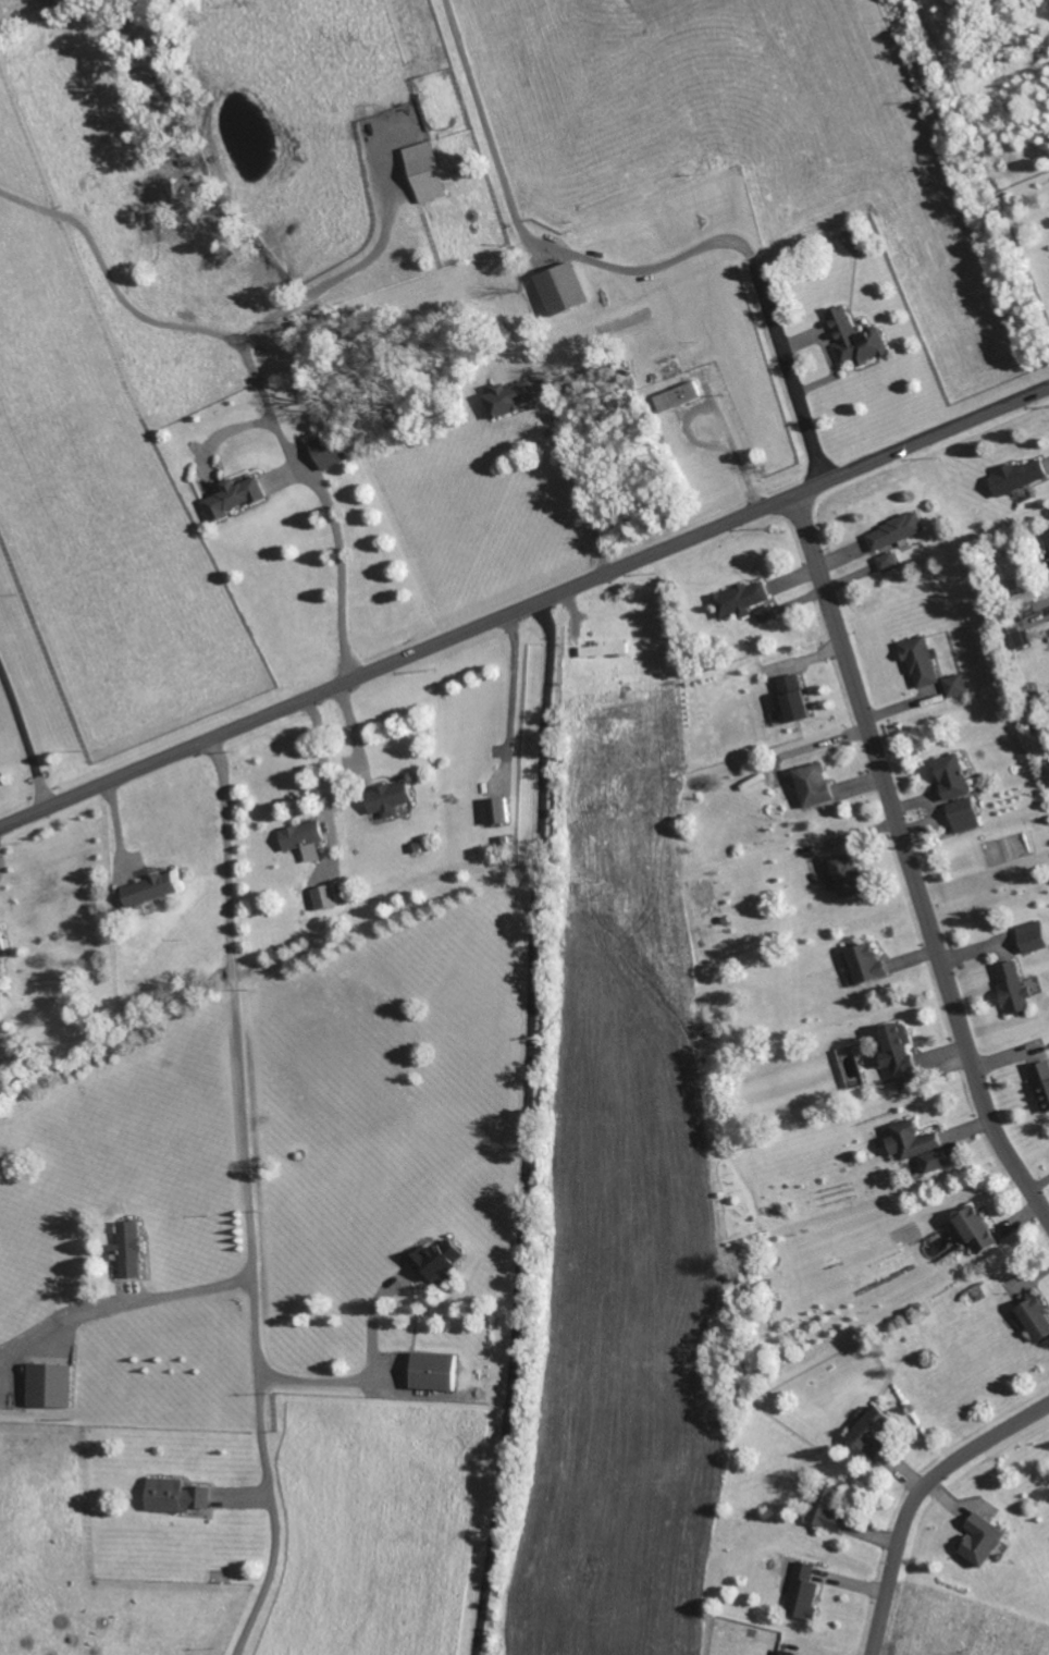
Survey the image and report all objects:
building: (423, 171)
road: (633, 275)
road: (115, 283)
building: (559, 287)
building: (854, 338)
building: (678, 395)
building: (508, 396)
road: (270, 407)
road: (717, 416)
building: (328, 450)
building: (1017, 476)
road: (579, 482)
building: (234, 495)
building: (894, 530)
building: (1047, 536)
building: (887, 561)
building: (740, 599)
road: (527, 612)
building: (766, 613)
building: (1019, 639)
building: (603, 649)
building: (917, 660)
building: (953, 684)
building: (793, 697)
road: (25, 736)
building: (812, 784)
building: (955, 792)
building: (387, 798)
building: (497, 810)
building: (301, 834)
building: (311, 851)
road: (0, 863)
road: (906, 865)
building: (843, 874)
building: (153, 887)
building: (324, 896)
building: (1031, 936)
building: (1, 942)
building: (864, 963)
building: (1012, 986)
building: (898, 1054)
building: (1041, 1084)
road: (532, 1130)
building: (916, 1145)
road: (246, 1198)
building: (975, 1229)
building: (128, 1249)
building: (435, 1260)
road: (188, 1296)
building: (1035, 1319)
road: (372, 1323)
road: (58, 1324)
building: (432, 1371)
road: (329, 1384)
building: (48, 1385)
building: (873, 1432)
building: (175, 1495)
road: (917, 1497)
building: (826, 1508)
building: (982, 1540)
building: (803, 1590)
building: (785, 1652)

